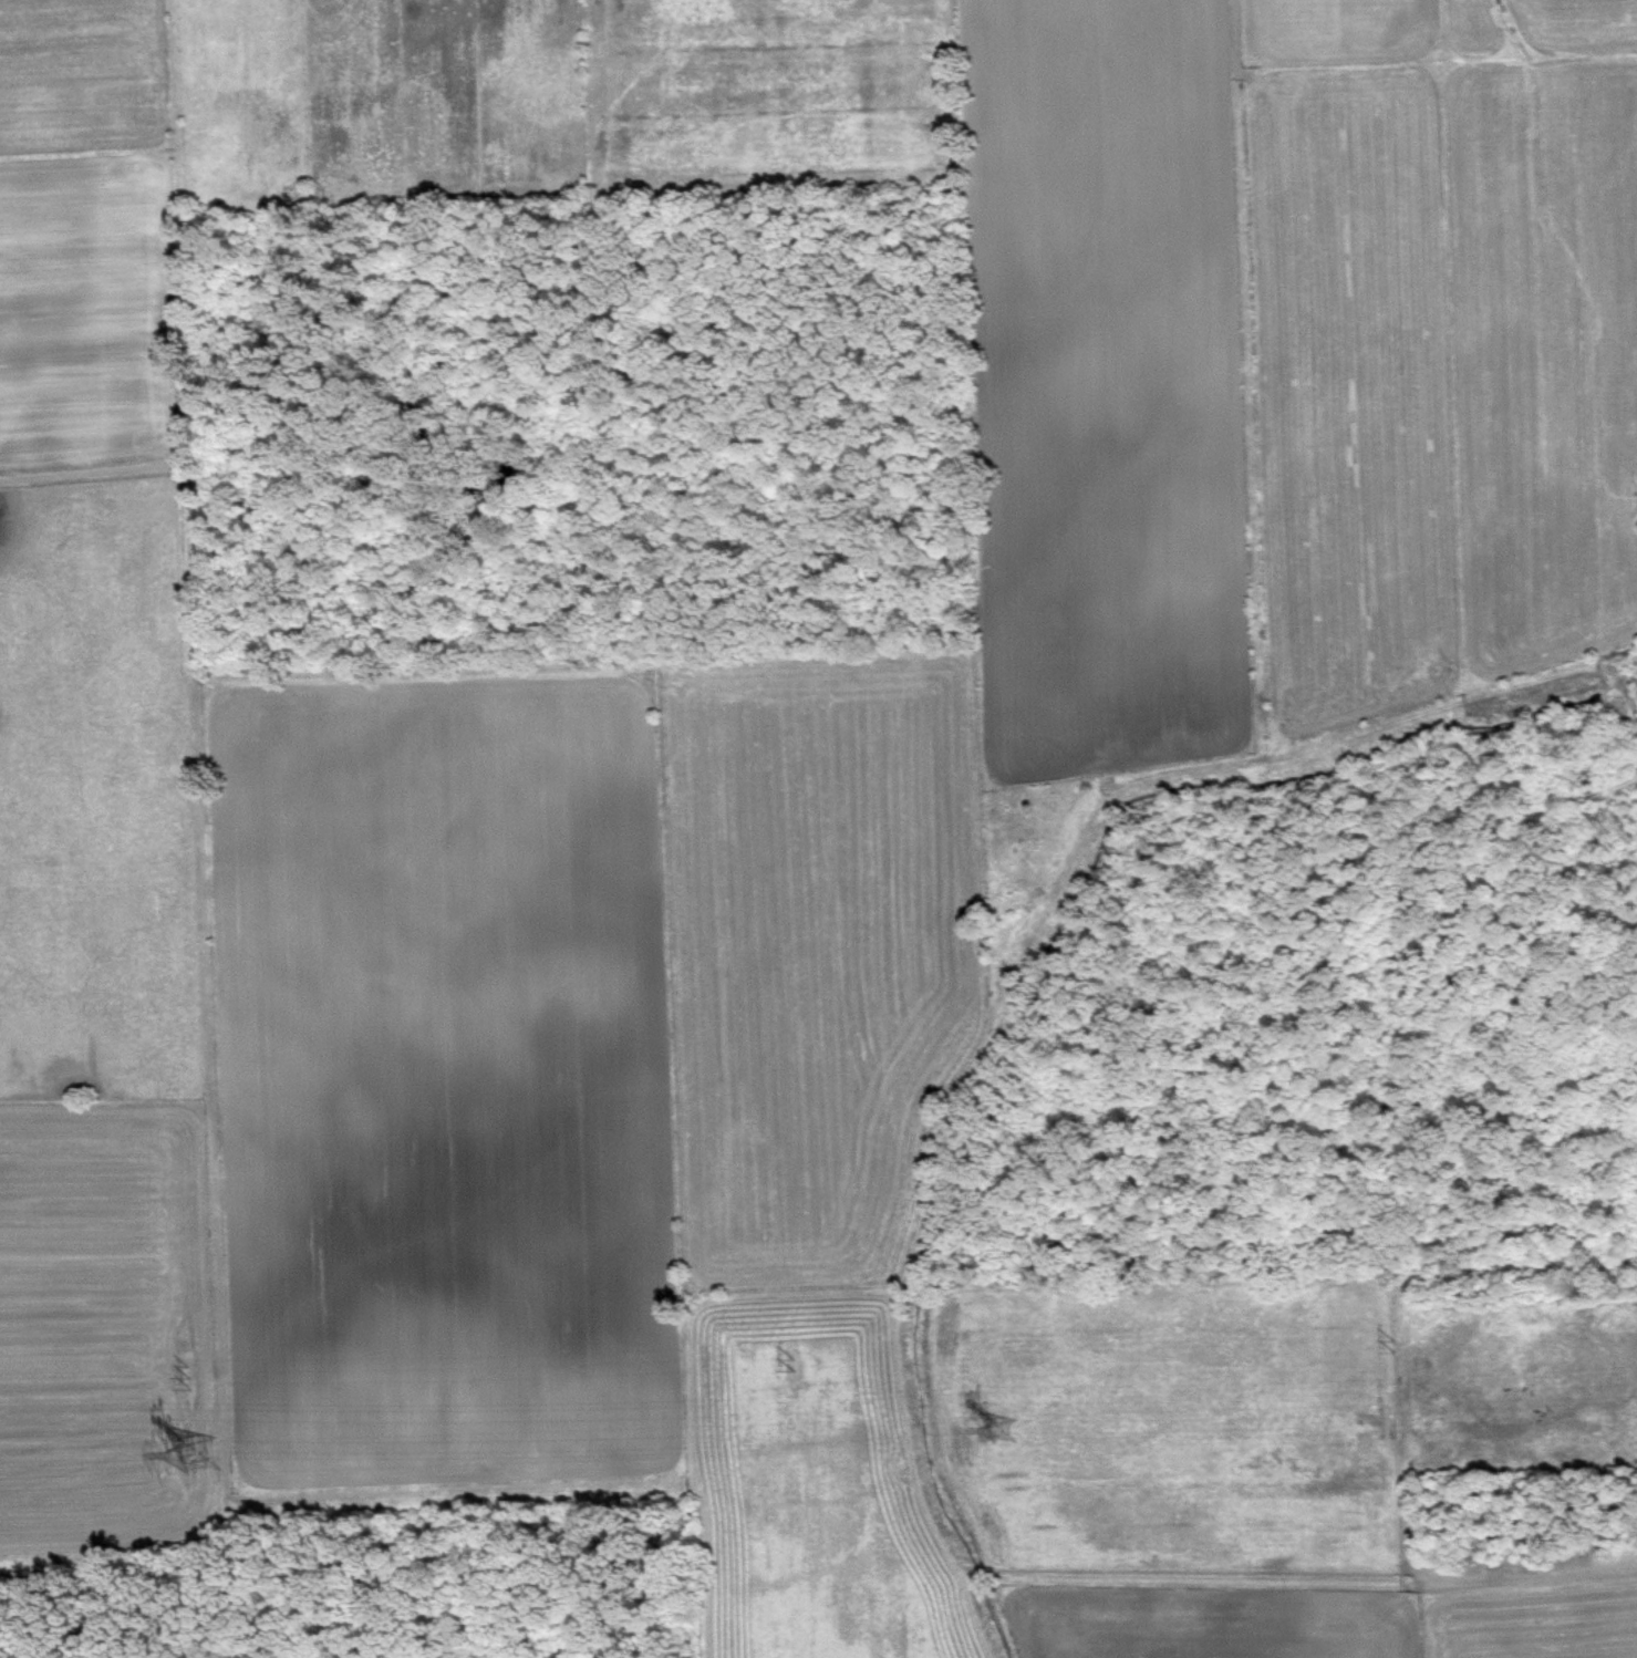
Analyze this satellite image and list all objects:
power tower: (1397, 1345)
power tower: (798, 1364)
power tower: (196, 1384)
power tower: (1008, 1424)
power tower: (193, 1449)

